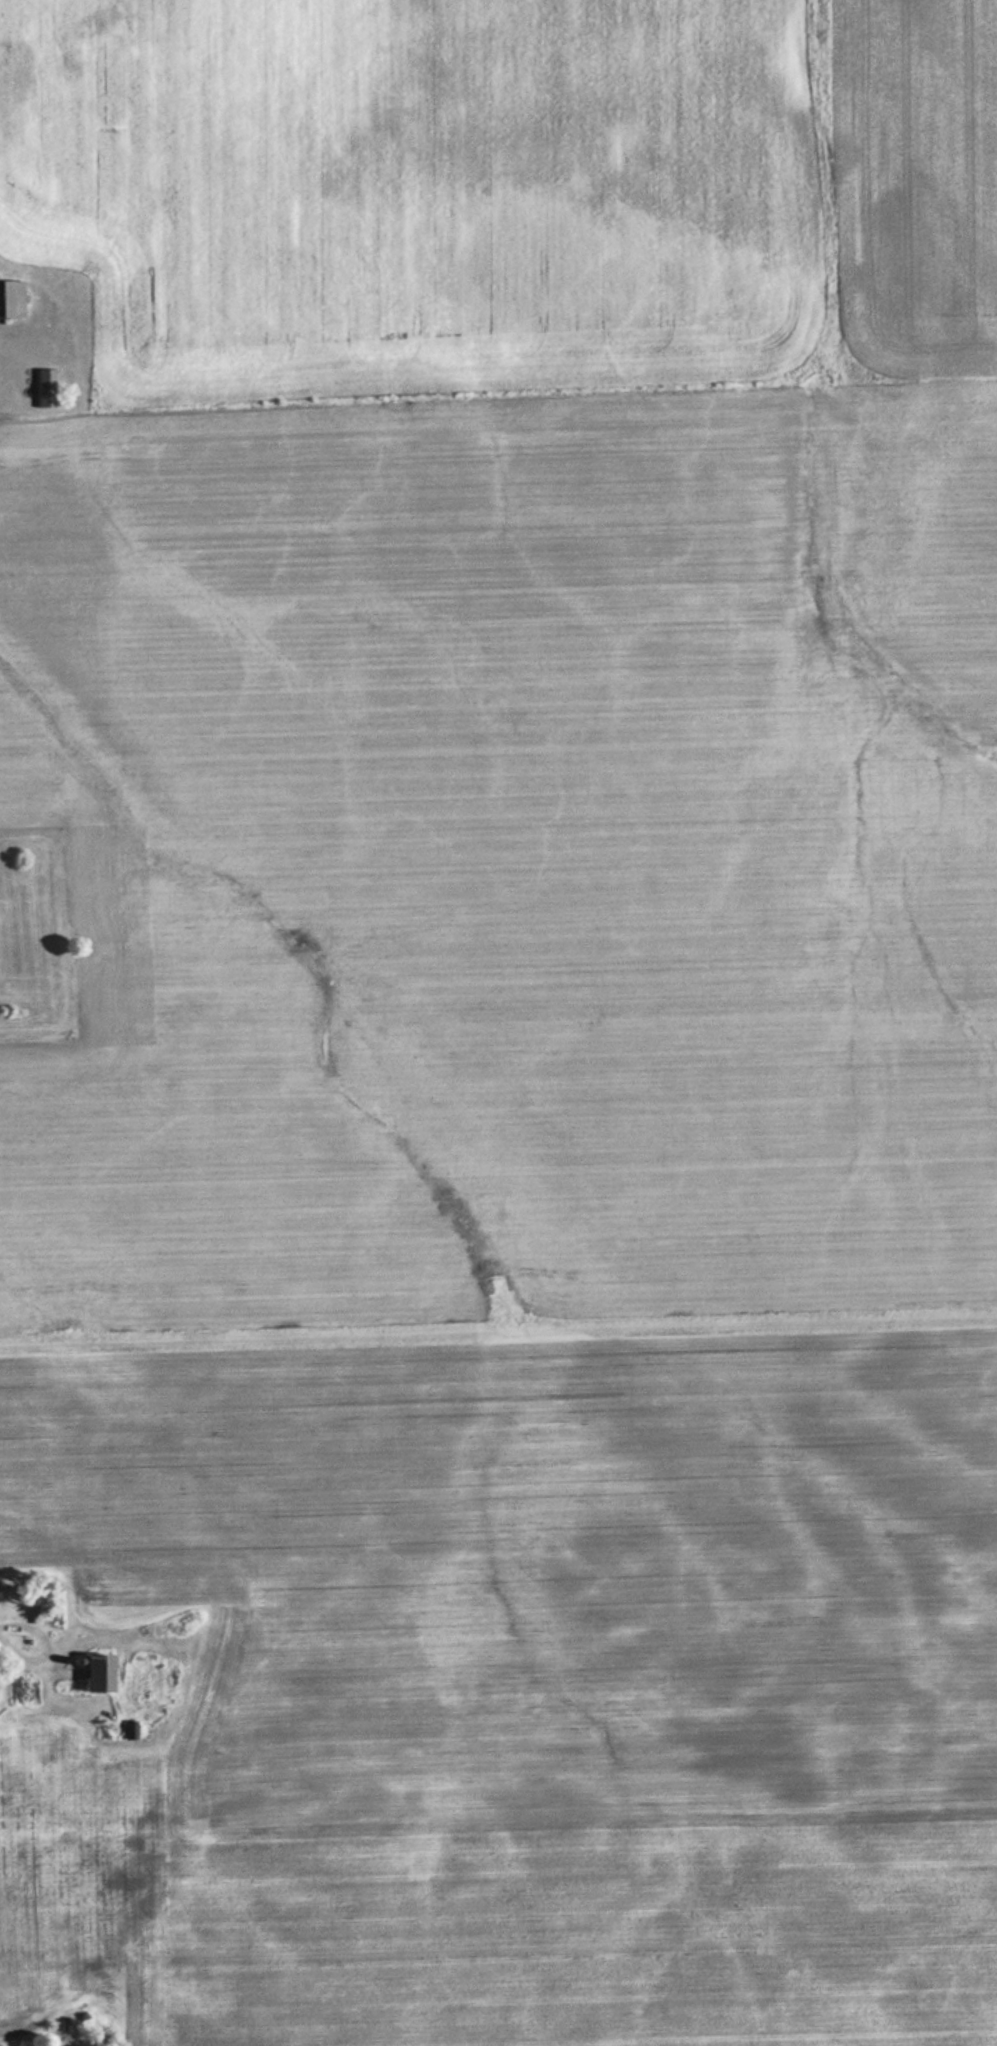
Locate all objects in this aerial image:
building: (11, 298)
building: (43, 387)
building: (99, 1671)
building: (24, 1686)
building: (129, 1727)

